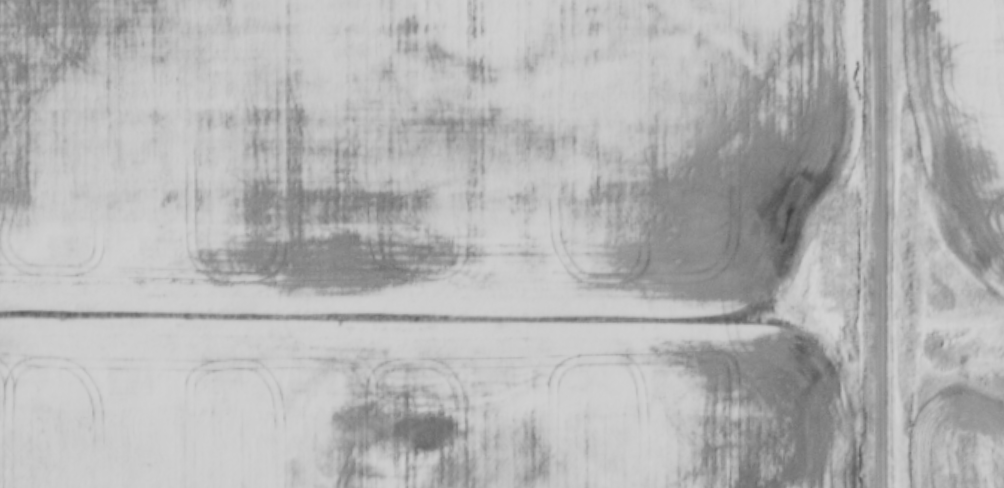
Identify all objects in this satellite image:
road: (879, 244)

